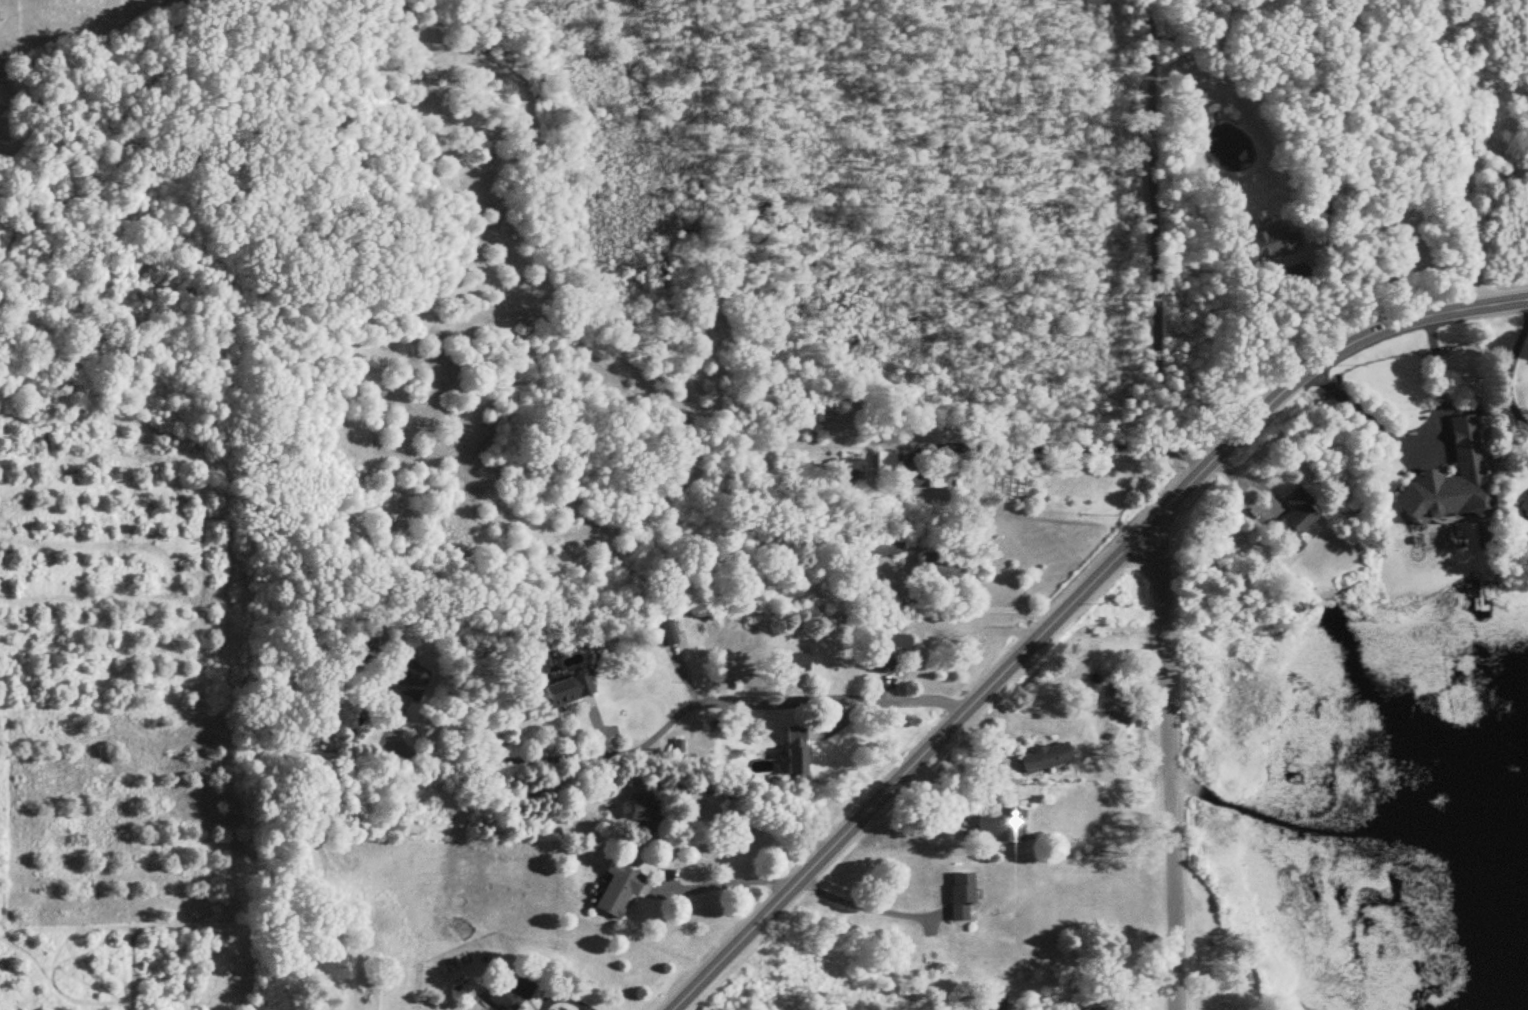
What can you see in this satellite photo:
road: (1355, 149)
road: (1154, 244)
building: (1270, 246)
road: (1290, 319)
road: (1509, 375)
building: (890, 439)
road: (1420, 440)
road: (1042, 446)
building: (887, 465)
building: (852, 470)
building: (927, 478)
building: (1450, 480)
building: (1299, 519)
building: (887, 547)
building: (940, 568)
road: (1070, 604)
road: (969, 611)
building: (667, 633)
building: (888, 652)
building: (797, 664)
building: (411, 681)
building: (569, 690)
road: (663, 728)
building: (798, 751)
building: (1048, 758)
road: (1167, 765)
building: (644, 803)
road: (761, 807)
building: (1001, 825)
road: (728, 884)
building: (620, 891)
building: (963, 897)
road: (865, 907)
building: (508, 995)
building: (1097, 1008)

